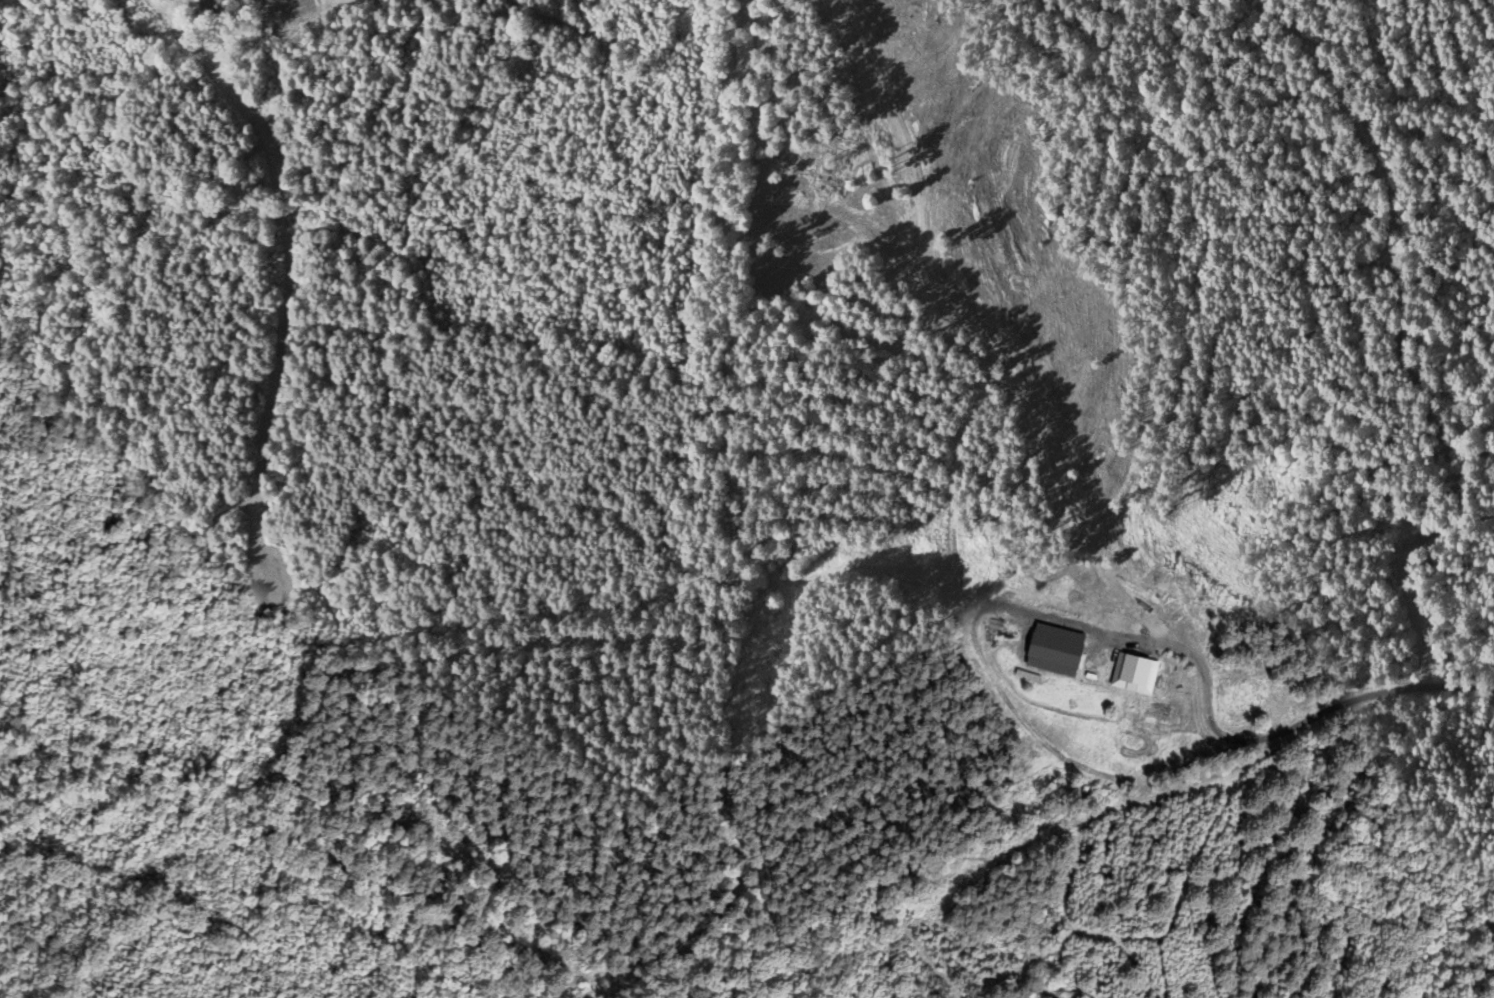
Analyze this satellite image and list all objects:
building: (202, 6)
building: (1056, 649)
road: (1276, 732)

